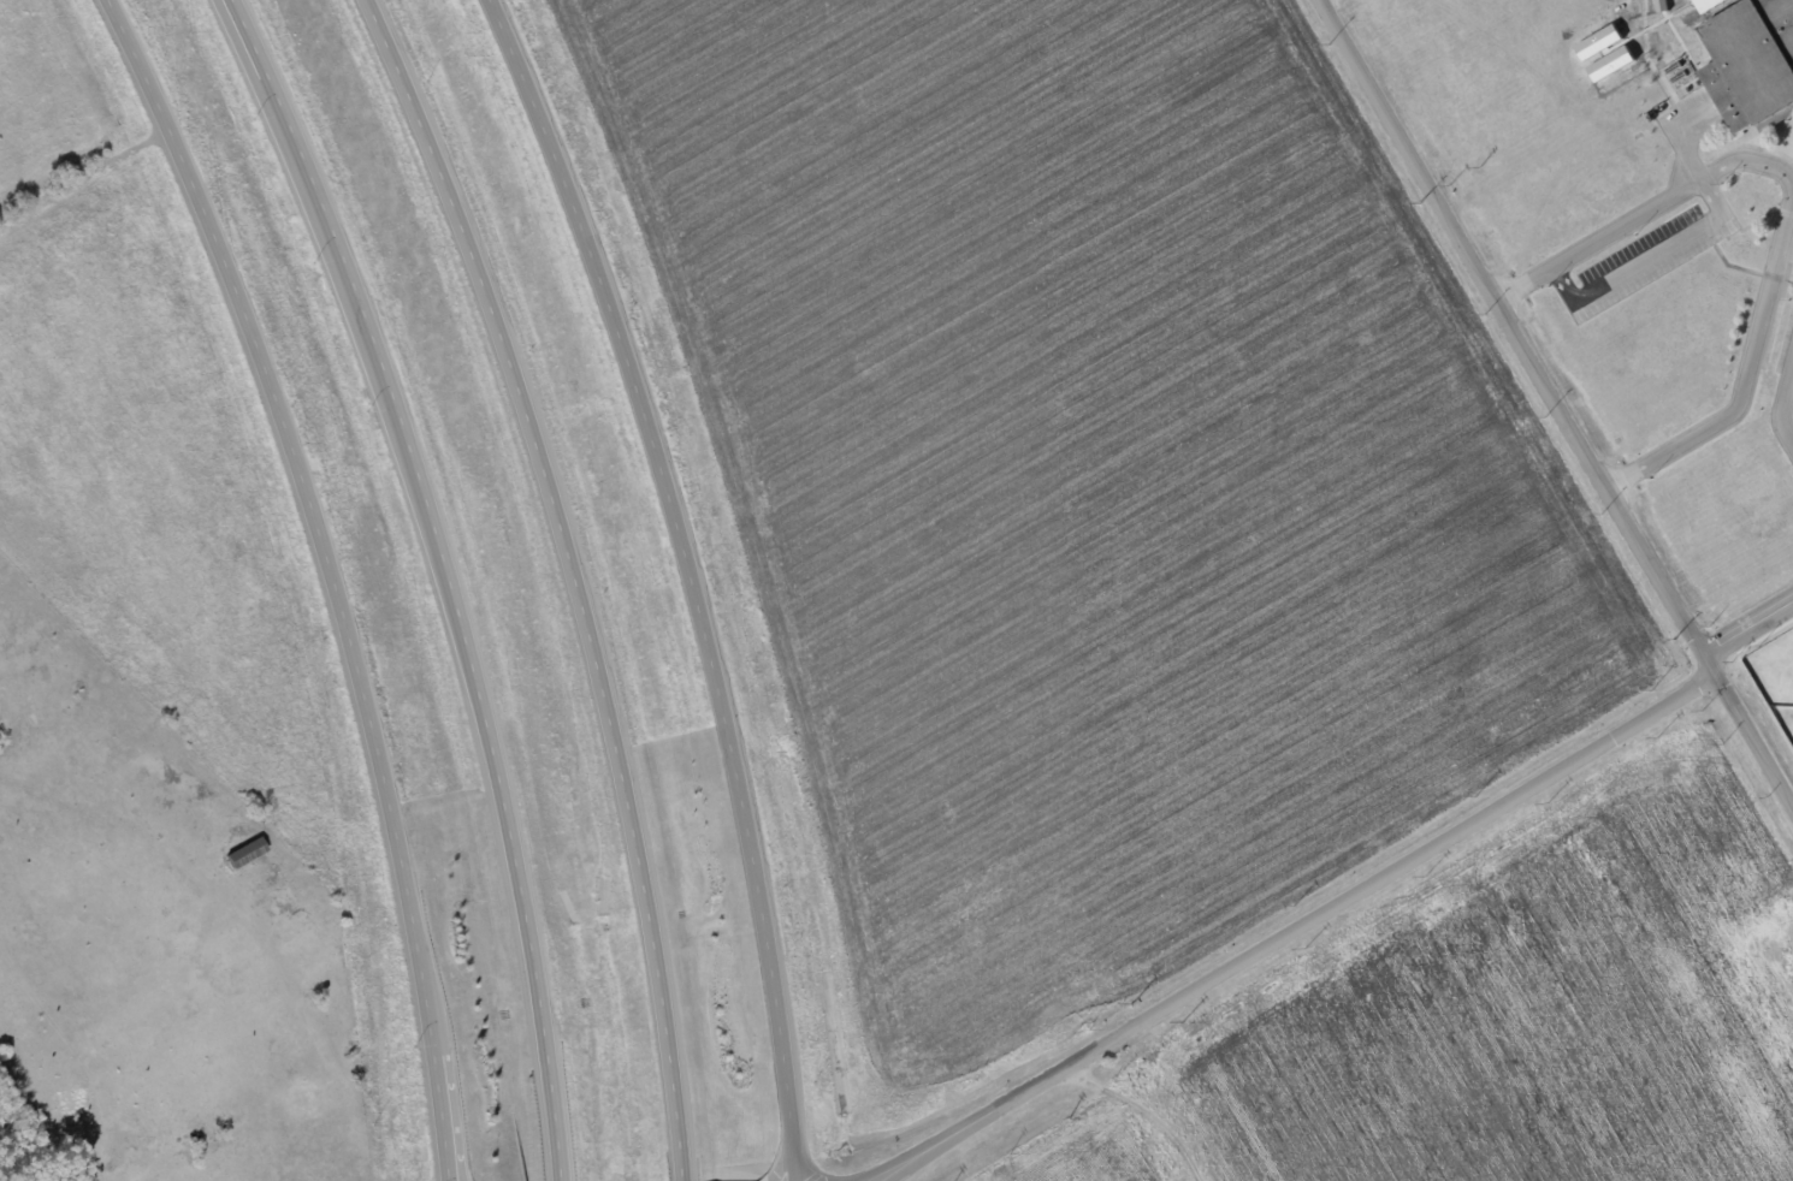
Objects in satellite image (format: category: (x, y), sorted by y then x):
building: (1692, 40)
building: (1753, 63)
parking lot: (1694, 107)
road: (1690, 133)
road: (1791, 203)
parking lot: (1649, 257)
road: (1650, 257)
road: (1555, 404)
road: (1782, 405)
road: (440, 574)
road: (322, 576)
road: (567, 578)
road: (685, 578)
road: (1748, 628)
building: (247, 851)
road: (1296, 928)
road: (779, 1167)
road: (449, 1169)

